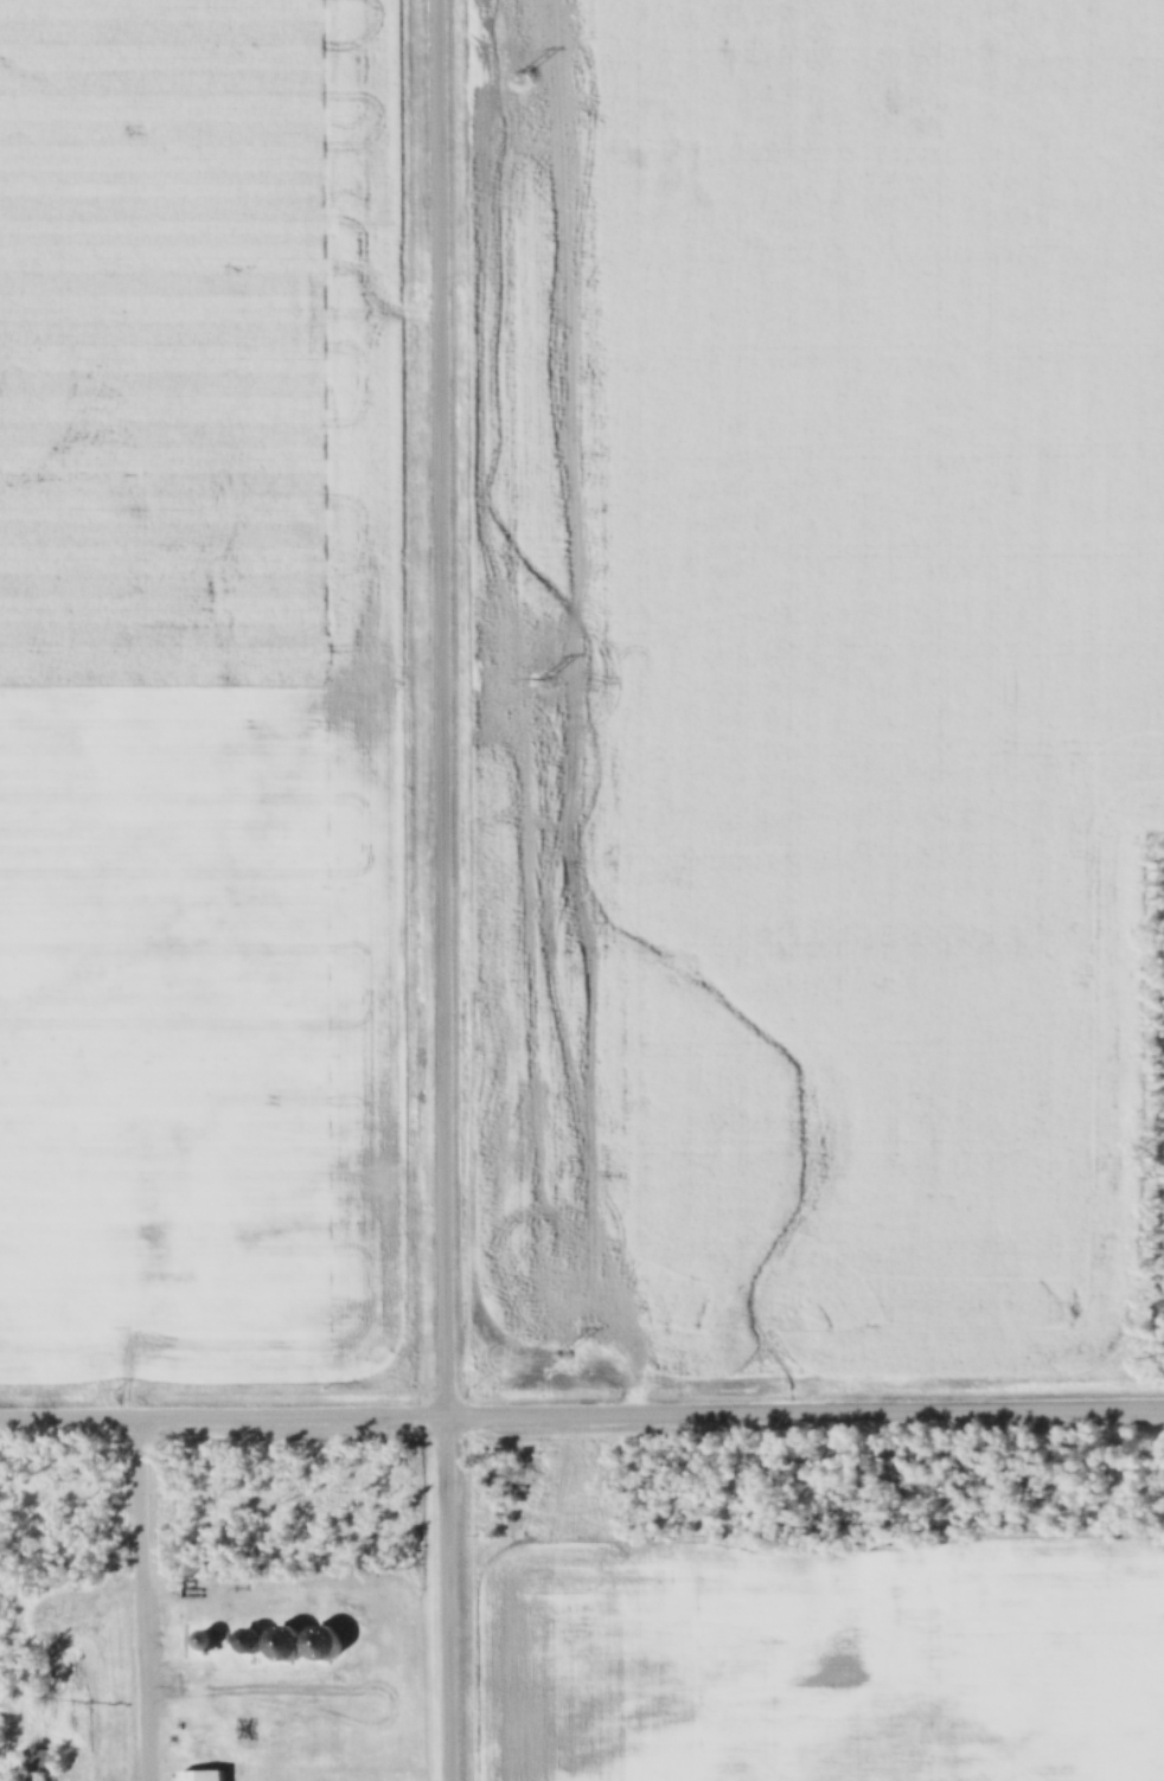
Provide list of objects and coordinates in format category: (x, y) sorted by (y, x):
power tower: (525, 73)
power tower: (543, 679)
road: (447, 890)
power tower: (563, 1353)
road: (807, 1405)
road: (225, 1411)
road: (139, 1596)
building: (204, 1642)
building: (249, 1642)
building: (38, 1760)
building: (203, 1776)

